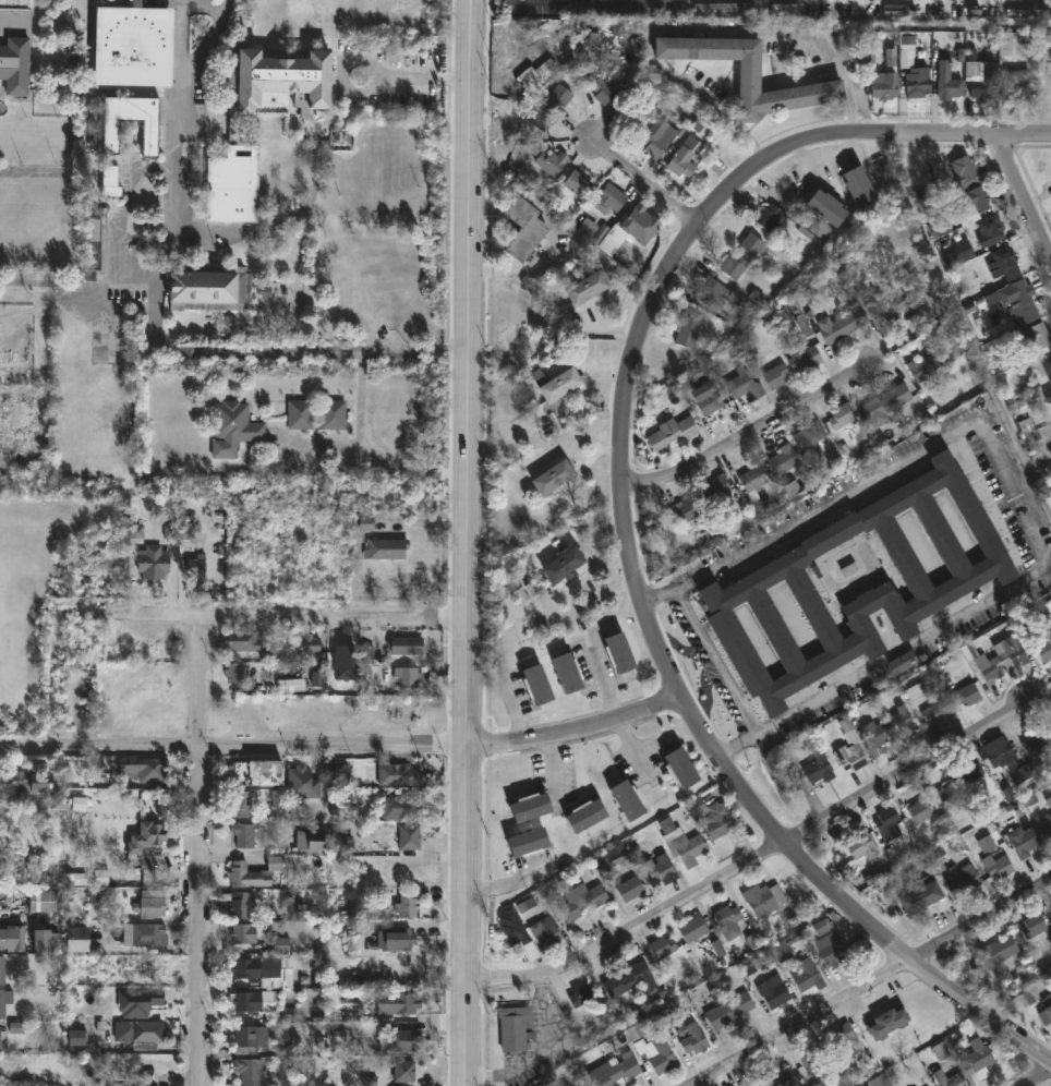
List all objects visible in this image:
road: (700, 0)
road: (1015, 16)
road: (182, 26)
road: (693, 31)
building: (132, 44)
building: (13, 46)
building: (1047, 47)
building: (1015, 64)
building: (750, 73)
building: (536, 74)
building: (949, 81)
building: (918, 82)
building: (987, 83)
building: (884, 85)
building: (603, 93)
building: (552, 106)
building: (629, 114)
building: (230, 131)
road: (1022, 133)
road: (827, 134)
building: (109, 138)
building: (656, 138)
road: (313, 152)
building: (684, 157)
building: (551, 160)
building: (965, 172)
building: (109, 181)
building: (576, 184)
road: (644, 184)
building: (860, 185)
road: (1022, 195)
building: (609, 198)
building: (973, 202)
building: (827, 206)
building: (769, 217)
building: (941, 228)
building: (523, 229)
building: (628, 231)
building: (989, 232)
building: (92, 248)
building: (742, 255)
road: (1050, 255)
building: (958, 256)
building: (1007, 262)
building: (209, 286)
building: (588, 288)
building: (717, 291)
building: (1020, 301)
building: (884, 306)
road: (154, 323)
road: (964, 324)
building: (843, 325)
building: (0, 326)
building: (687, 330)
building: (1038, 337)
building: (806, 354)
building: (922, 367)
building: (1042, 367)
road: (468, 374)
building: (773, 374)
building: (745, 385)
building: (560, 388)
building: (709, 398)
road: (361, 399)
building: (881, 406)
building: (334, 413)
building: (300, 414)
building: (842, 417)
building: (237, 430)
road: (749, 432)
building: (672, 434)
building: (812, 445)
road: (376, 454)
road: (624, 457)
building: (783, 459)
building: (553, 478)
building: (753, 479)
building: (715, 487)
building: (790, 492)
road: (1014, 492)
building: (688, 510)
building: (737, 527)
building: (384, 550)
building: (565, 558)
building: (150, 563)
building: (193, 569)
building: (963, 584)
road: (294, 622)
building: (238, 639)
building: (404, 644)
building: (1044, 645)
building: (276, 653)
building: (619, 653)
building: (904, 662)
building: (1000, 662)
road: (721, 664)
building: (233, 672)
building: (568, 674)
building: (406, 675)
building: (82, 685)
building: (536, 686)
building: (967, 695)
building: (935, 712)
building: (901, 720)
road: (577, 734)
building: (875, 736)
road: (233, 748)
building: (1036, 748)
building: (849, 756)
building: (1008, 762)
building: (680, 768)
building: (142, 769)
building: (817, 769)
building: (253, 772)
building: (968, 772)
building: (398, 774)
building: (25, 782)
building: (300, 782)
building: (1049, 787)
building: (628, 798)
building: (239, 803)
building: (933, 804)
building: (531, 805)
building: (398, 807)
building: (587, 813)
building: (712, 817)
building: (1047, 817)
building: (891, 822)
building: (241, 834)
building: (404, 836)
building: (309, 838)
building: (1024, 840)
building: (529, 841)
building: (682, 842)
building: (143, 843)
building: (863, 845)
road: (202, 854)
road: (765, 854)
building: (999, 866)
building: (663, 868)
building: (252, 872)
building: (962, 879)
building: (631, 888)
building: (922, 896)
building: (580, 897)
building: (763, 898)
road: (844, 898)
building: (43, 902)
building: (147, 904)
building: (404, 904)
building: (238, 905)
road: (469, 917)
building: (728, 921)
building: (1034, 926)
building: (692, 928)
building: (545, 930)
building: (517, 932)
building: (142, 934)
building: (241, 934)
building: (11, 938)
building: (394, 938)
building: (73, 939)
building: (41, 940)
building: (663, 946)
building: (833, 949)
building: (998, 950)
building: (147, 967)
building: (244, 967)
building: (0, 972)
building: (807, 977)
building: (630, 980)
road: (874, 980)
building: (581, 992)
building: (773, 993)
building: (3, 1000)
building: (244, 1001)
building: (136, 1002)
building: (394, 1003)
building: (1047, 1007)
building: (730, 1010)
building: (890, 1022)
building: (514, 1027)
building: (134, 1033)
building: (2, 1036)
building: (692, 1037)
building: (842, 1037)
building: (243, 1040)
building: (396, 1042)
road: (544, 1054)
building: (662, 1055)
building: (811, 1055)
building: (977, 1059)
building: (246, 1071)
building: (401, 1071)
building: (618, 1071)
road: (1037, 1077)
building: (780, 1078)
building: (949, 1078)
building: (881, 1081)

